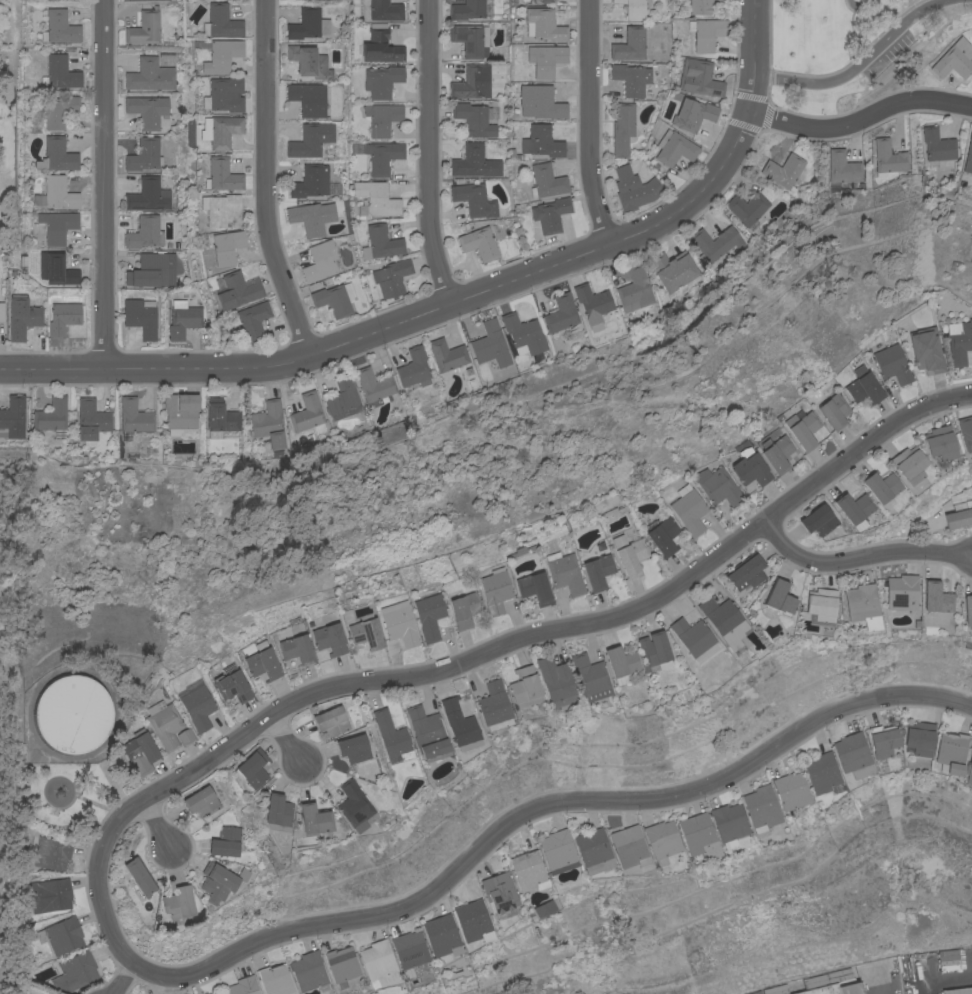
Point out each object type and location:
building: (542, 1)
building: (699, 6)
building: (634, 8)
building: (382, 9)
building: (467, 9)
building: (221, 21)
building: (308, 23)
building: (543, 24)
building: (61, 26)
building: (144, 27)
building: (706, 32)
building: (470, 38)
building: (632, 43)
building: (380, 45)
building: (221, 55)
road: (756, 56)
building: (307, 57)
building: (545, 59)
building: (953, 59)
road: (859, 65)
building: (60, 72)
building: (150, 75)
building: (631, 78)
building: (699, 78)
building: (381, 80)
building: (472, 82)
building: (224, 94)
building: (308, 98)
building: (540, 101)
building: (57, 109)
building: (147, 110)
building: (692, 114)
building: (382, 117)
building: (474, 118)
road: (586, 118)
road: (862, 119)
building: (622, 127)
building: (220, 130)
building: (311, 139)
building: (541, 141)
building: (937, 144)
building: (674, 147)
road: (425, 149)
building: (144, 154)
building: (968, 154)
building: (56, 155)
building: (382, 156)
building: (888, 156)
building: (468, 160)
park: (7, 166)
building: (842, 167)
building: (783, 171)
building: (222, 174)
building: (546, 180)
road: (267, 181)
building: (310, 181)
road: (106, 184)
building: (634, 188)
building: (56, 192)
building: (148, 194)
building: (470, 197)
building: (375, 198)
building: (747, 207)
building: (221, 209)
building: (550, 214)
building: (312, 216)
building: (56, 225)
building: (145, 232)
building: (380, 242)
building: (479, 242)
building: (716, 242)
building: (226, 245)
building: (320, 260)
building: (59, 269)
building: (672, 269)
building: (150, 270)
building: (391, 276)
building: (635, 289)
building: (236, 290)
building: (335, 298)
building: (593, 304)
building: (2, 311)
building: (561, 313)
road: (403, 314)
building: (22, 316)
building: (141, 316)
building: (63, 317)
building: (183, 318)
building: (251, 319)
building: (523, 333)
building: (959, 341)
building: (490, 344)
building: (925, 350)
building: (447, 354)
building: (891, 363)
building: (414, 367)
building: (374, 384)
building: (862, 385)
building: (342, 398)
building: (830, 408)
building: (181, 413)
building: (308, 413)
building: (51, 414)
building: (221, 416)
building: (13, 417)
building: (133, 417)
building: (91, 420)
building: (268, 424)
building: (801, 428)
building: (965, 432)
building: (939, 442)
building: (774, 452)
building: (908, 464)
building: (748, 467)
building: (716, 486)
building: (880, 487)
building: (852, 508)
building: (688, 509)
building: (958, 516)
building: (818, 520)
building: (663, 536)
building: (629, 554)
road: (861, 557)
building: (597, 571)
building: (564, 572)
building: (746, 572)
building: (533, 587)
building: (496, 591)
building: (902, 593)
building: (779, 597)
building: (937, 598)
building: (821, 603)
building: (864, 606)
building: (464, 610)
building: (968, 610)
building: (429, 616)
building: (726, 621)
building: (399, 623)
road: (571, 625)
park: (11, 626)
building: (365, 631)
building: (694, 636)
building: (330, 639)
building: (297, 649)
building: (656, 652)
building: (263, 662)
building: (623, 664)
building: (592, 677)
building: (557, 681)
building: (233, 687)
building: (526, 687)
building: (495, 706)
building: (199, 708)
building: (73, 714)
storage tank: (73, 714)
building: (333, 721)
building: (165, 724)
building: (461, 725)
building: (429, 734)
building: (393, 736)
building: (187, 737)
building: (922, 739)
road: (288, 741)
building: (886, 742)
building: (355, 748)
building: (954, 752)
building: (141, 753)
building: (855, 755)
building: (253, 769)
building: (824, 773)
building: (970, 775)
building: (794, 791)
building: (203, 802)
building: (356, 805)
road: (541, 808)
building: (764, 809)
building: (278, 813)
building: (315, 819)
building: (732, 824)
road: (159, 825)
building: (701, 836)
building: (664, 840)
building: (228, 842)
building: (631, 847)
building: (596, 851)
building: (560, 852)
building: (53, 853)
building: (529, 870)
building: (141, 876)
road: (108, 880)
building: (221, 882)
building: (502, 893)
building: (51, 895)
building: (180, 905)
building: (545, 909)
building: (475, 921)
building: (62, 935)
building: (444, 936)
building: (412, 950)
building: (381, 963)
building: (343, 965)
building: (310, 971)
building: (77, 972)
road: (126, 978)
building: (277, 980)
road: (879, 981)
building: (245, 986)
building: (838, 988)
building: (390, 990)
building: (959, 991)
building: (218, 992)
building: (222, 993)

